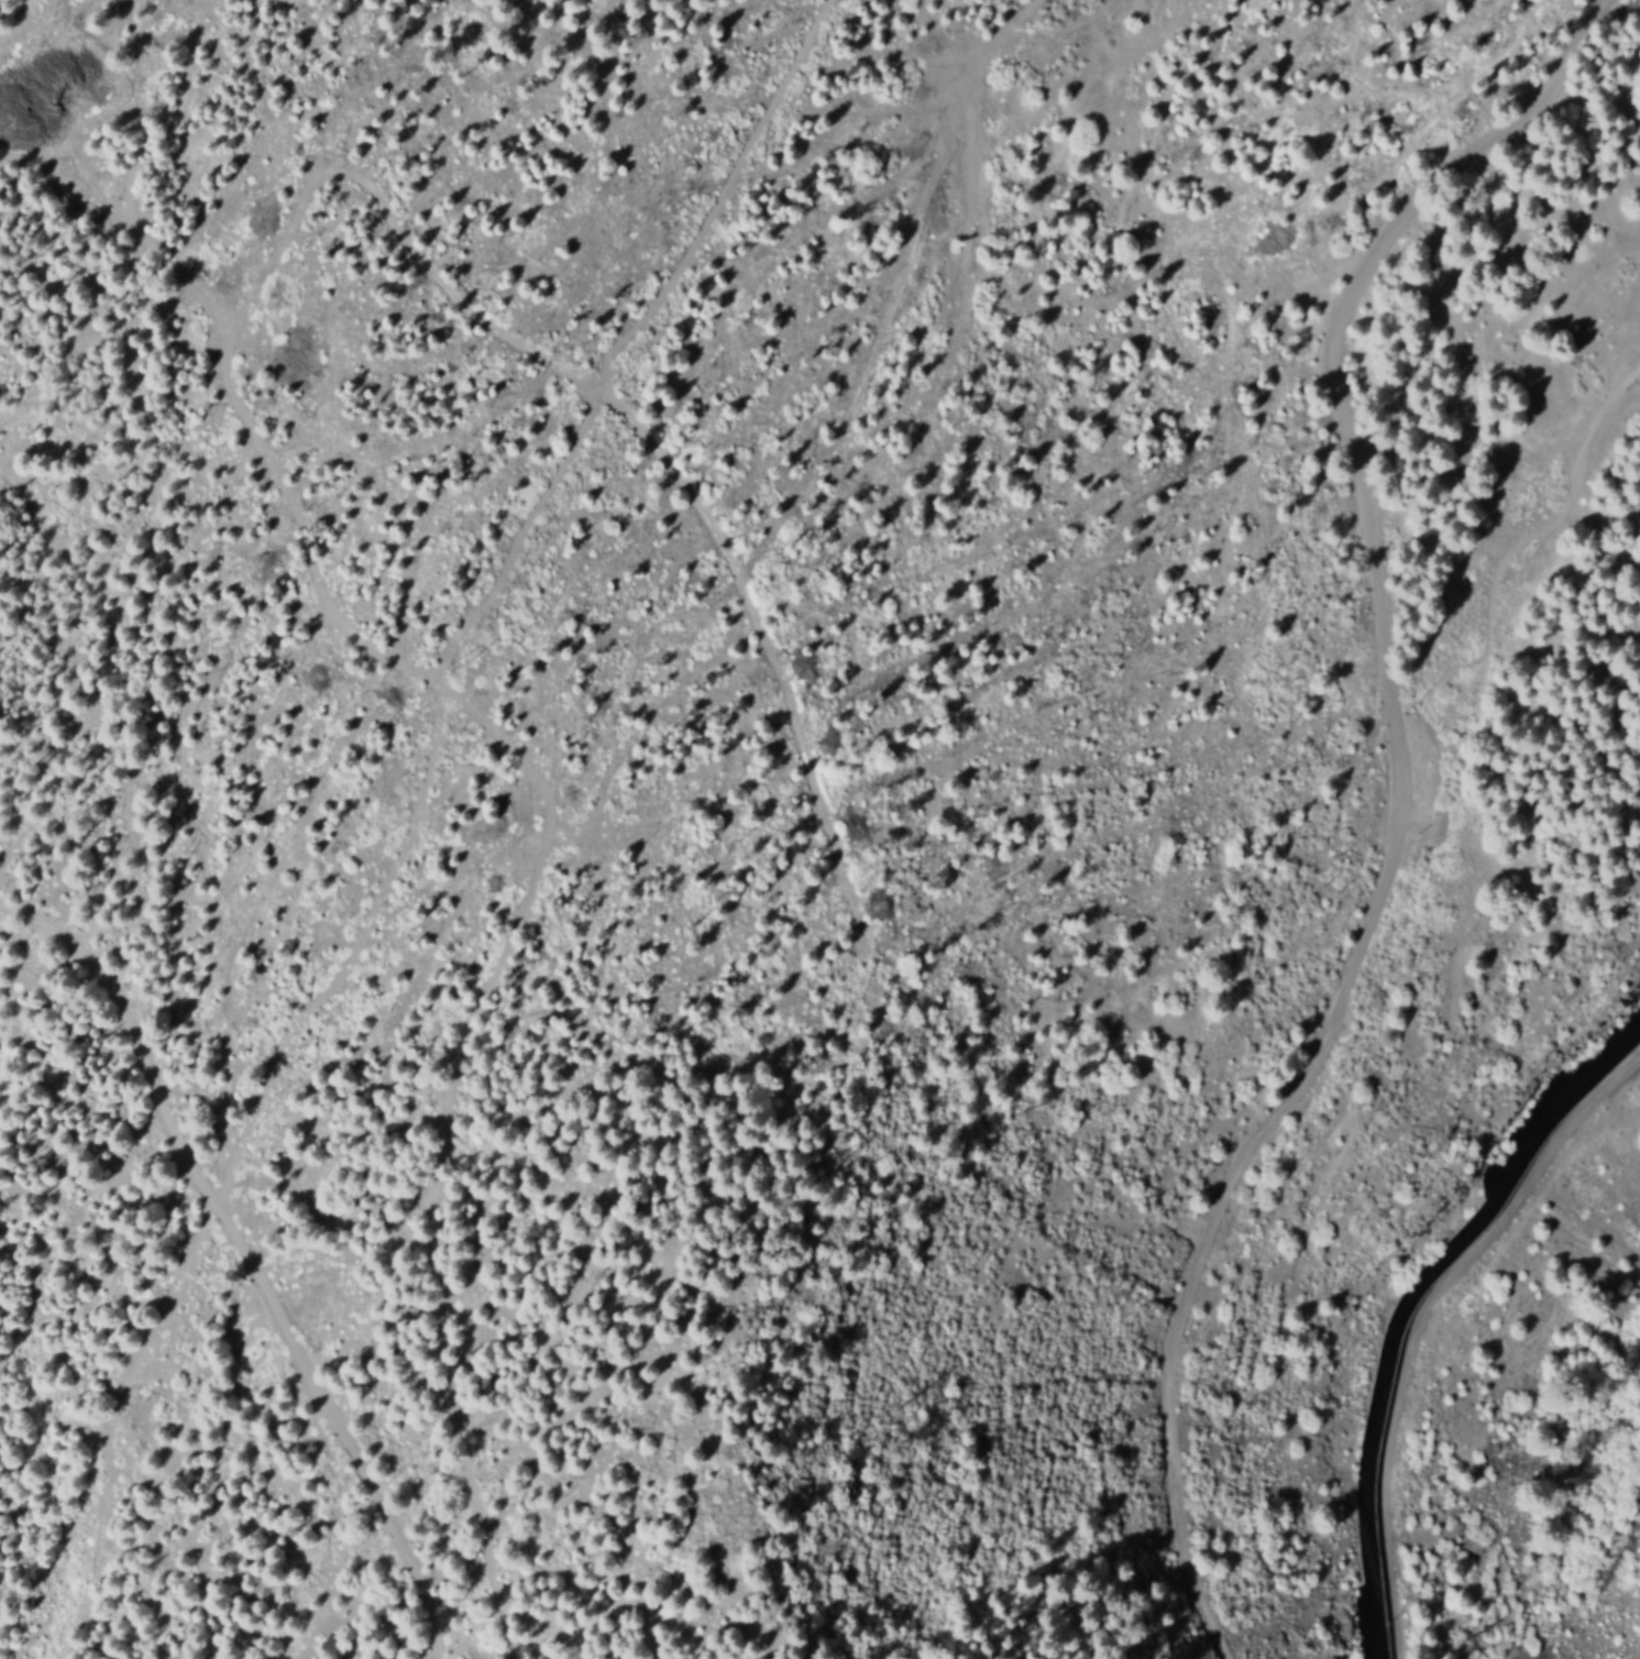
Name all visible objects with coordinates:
road: (1401, 805)
road: (1417, 1318)

